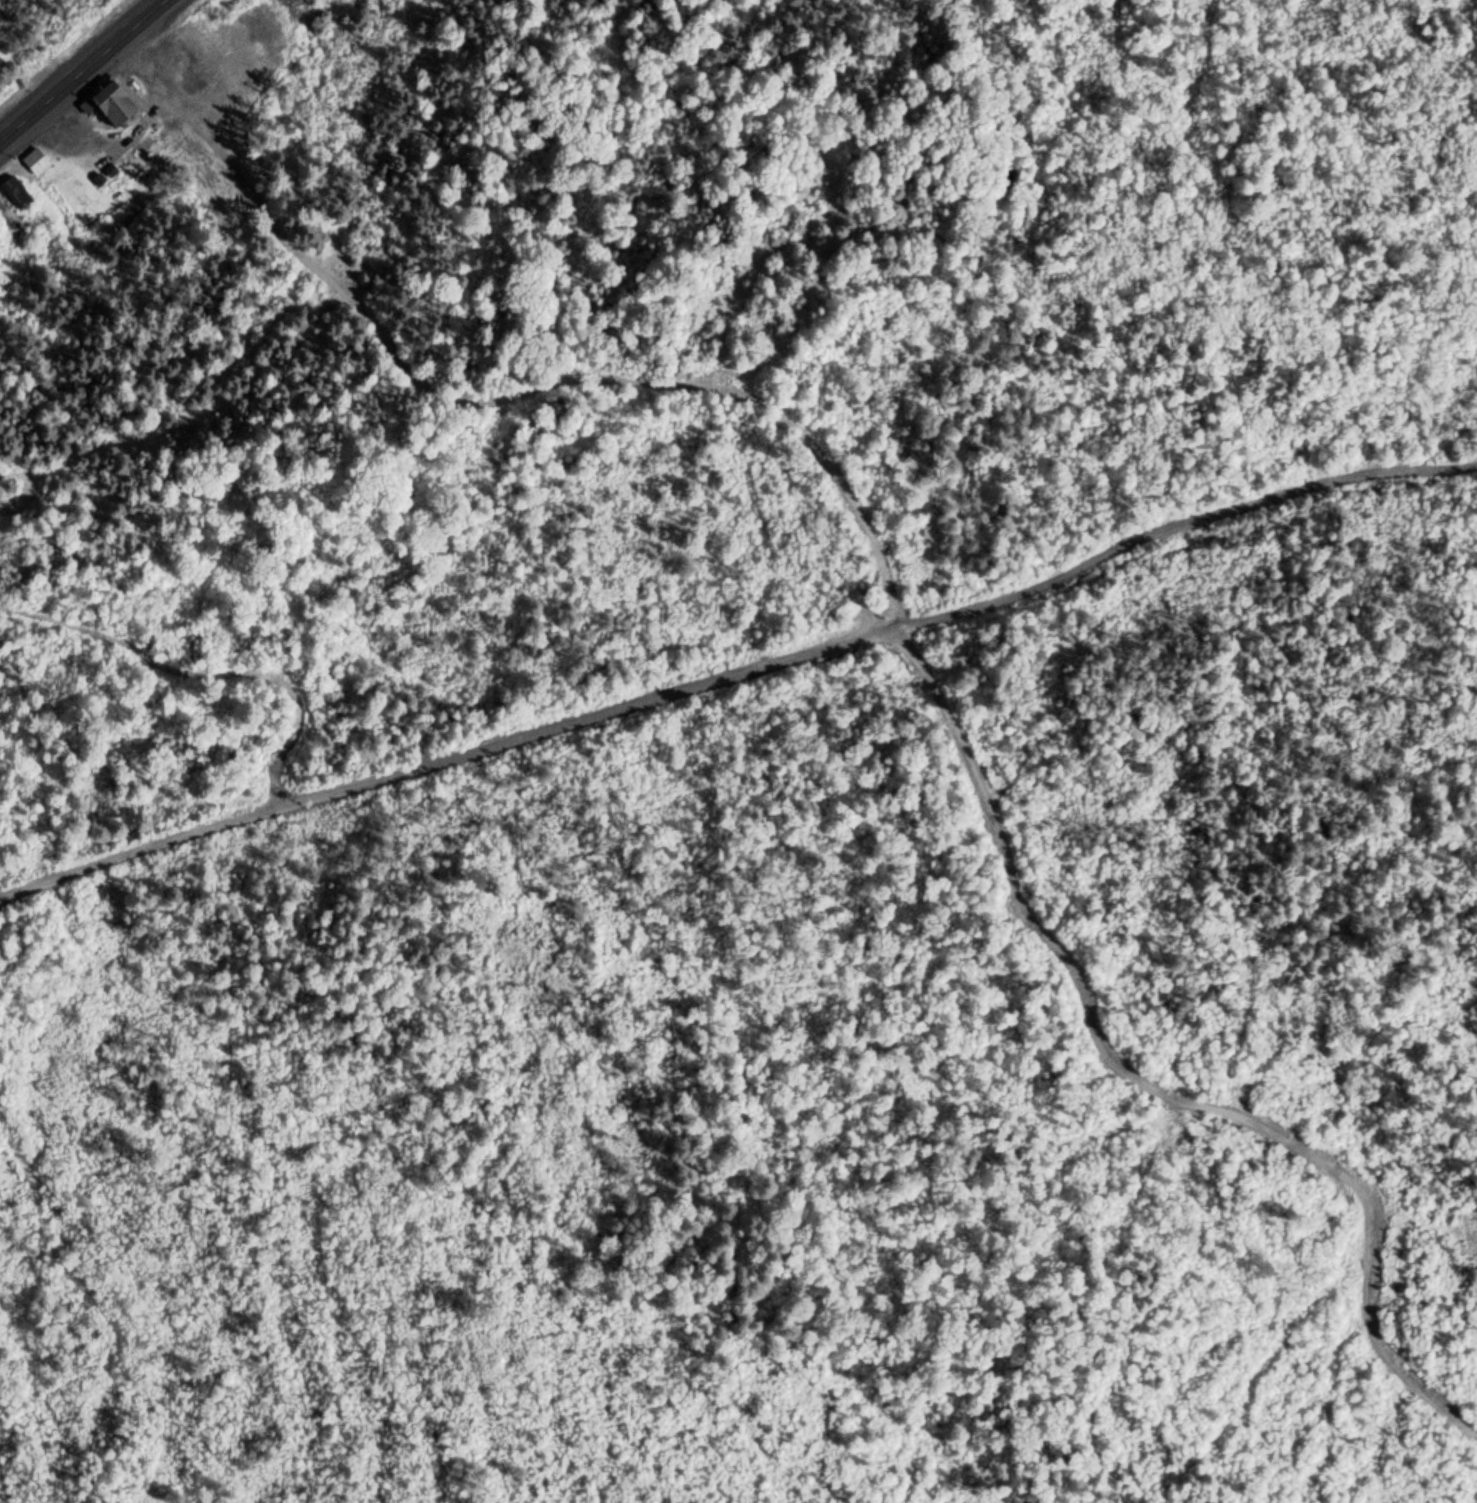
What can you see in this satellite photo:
road: (82, 69)
building: (108, 100)
building: (36, 163)
building: (16, 194)
road: (732, 659)

